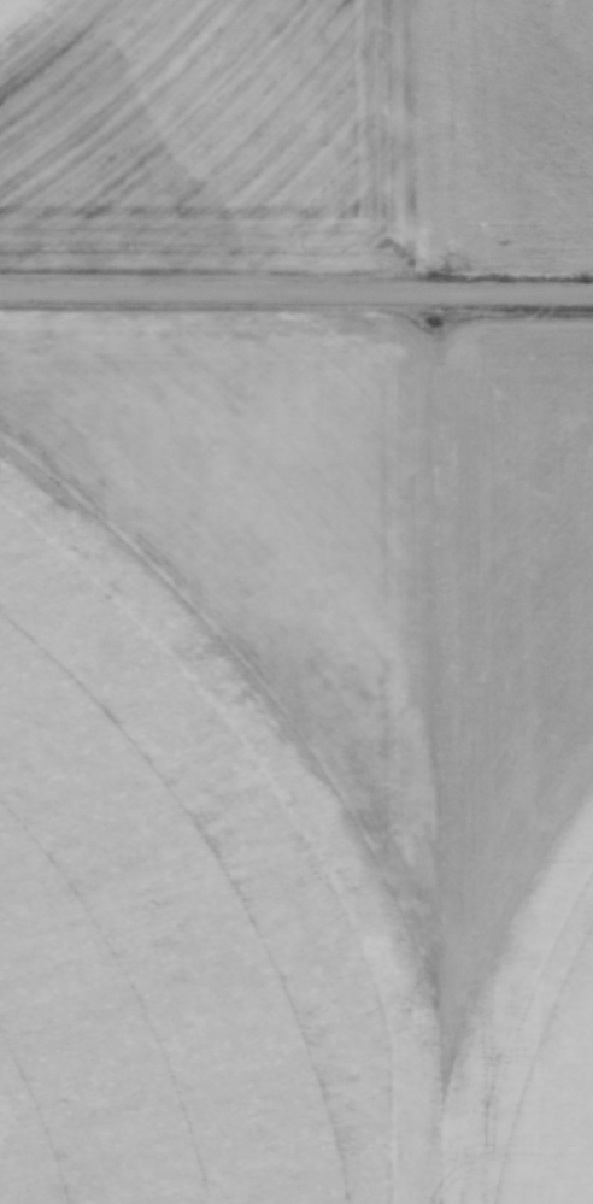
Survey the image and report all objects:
crop: (34, 28)
road: (296, 290)
crop: (248, 792)

